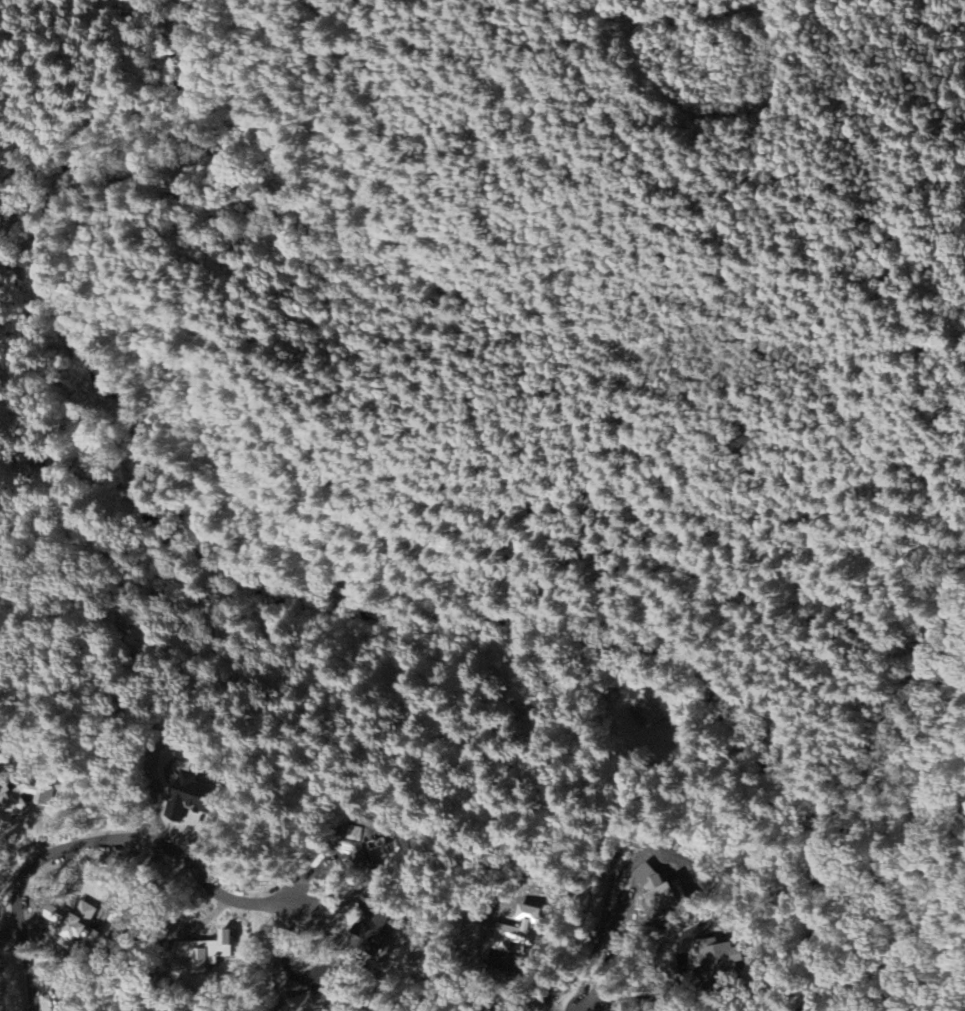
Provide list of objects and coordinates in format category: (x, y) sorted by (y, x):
road: (242, 161)
road: (327, 167)
road: (771, 172)
road: (541, 388)
road: (322, 580)
road: (826, 603)
building: (191, 794)
building: (23, 799)
road: (104, 843)
building: (665, 894)
building: (85, 917)
building: (377, 923)
building: (523, 930)
building: (211, 951)
building: (721, 961)
road: (656, 994)
building: (73, 1009)

